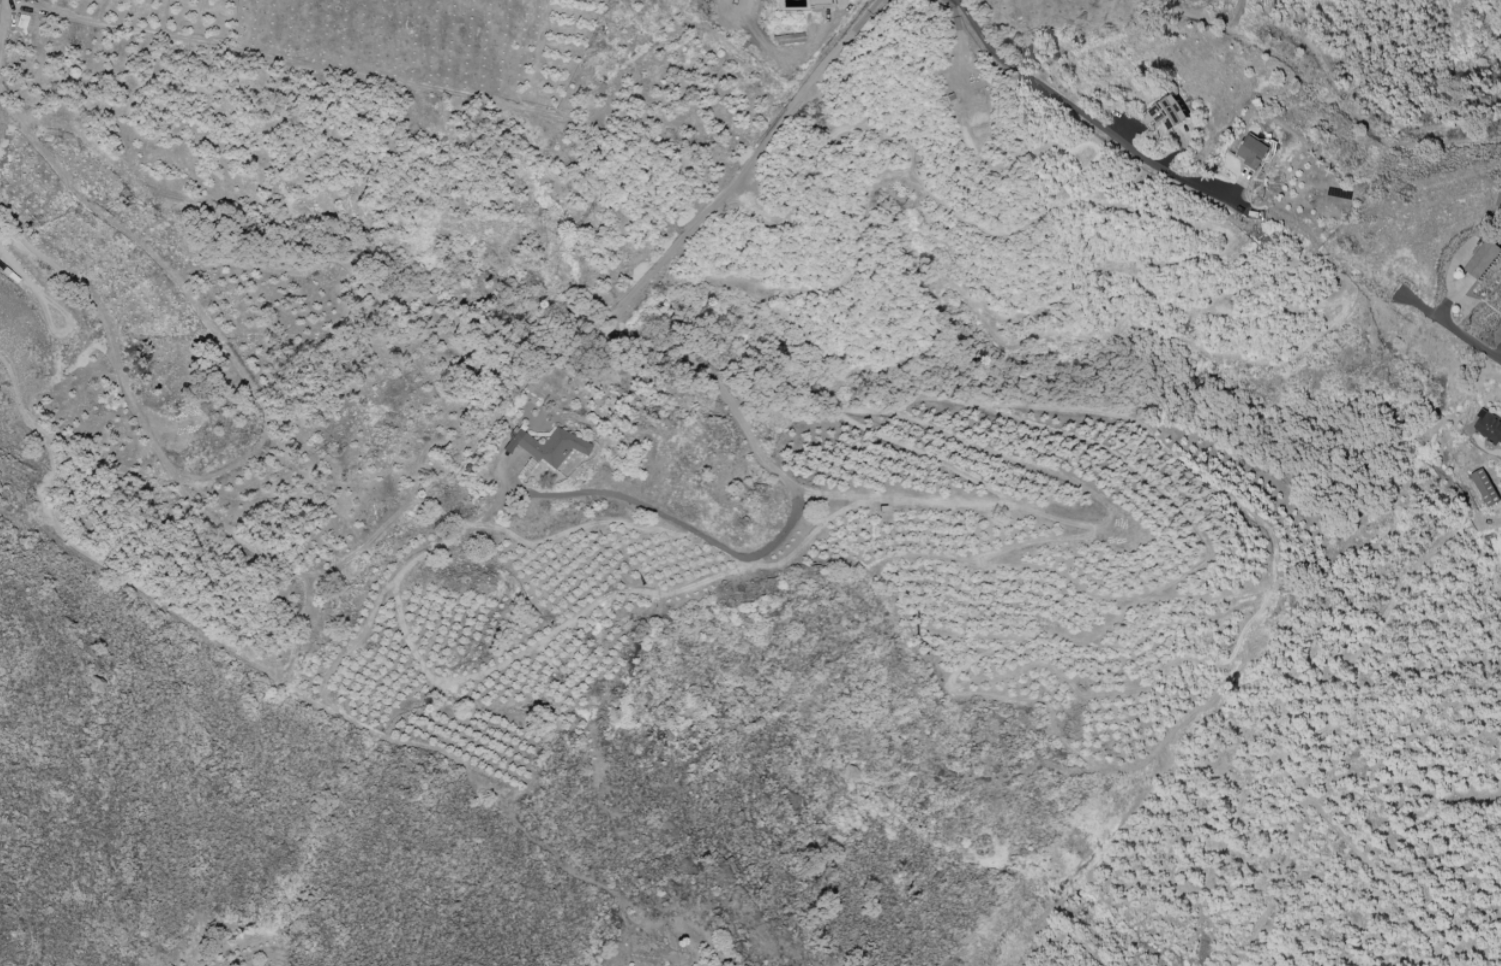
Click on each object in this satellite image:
building: (825, 4)
building: (788, 38)
road: (794, 100)
road: (1087, 112)
building: (1170, 113)
building: (1254, 152)
building: (1484, 258)
road: (7, 259)
road: (1451, 325)
building: (1489, 426)
building: (547, 447)
road: (771, 468)
building: (1485, 487)

